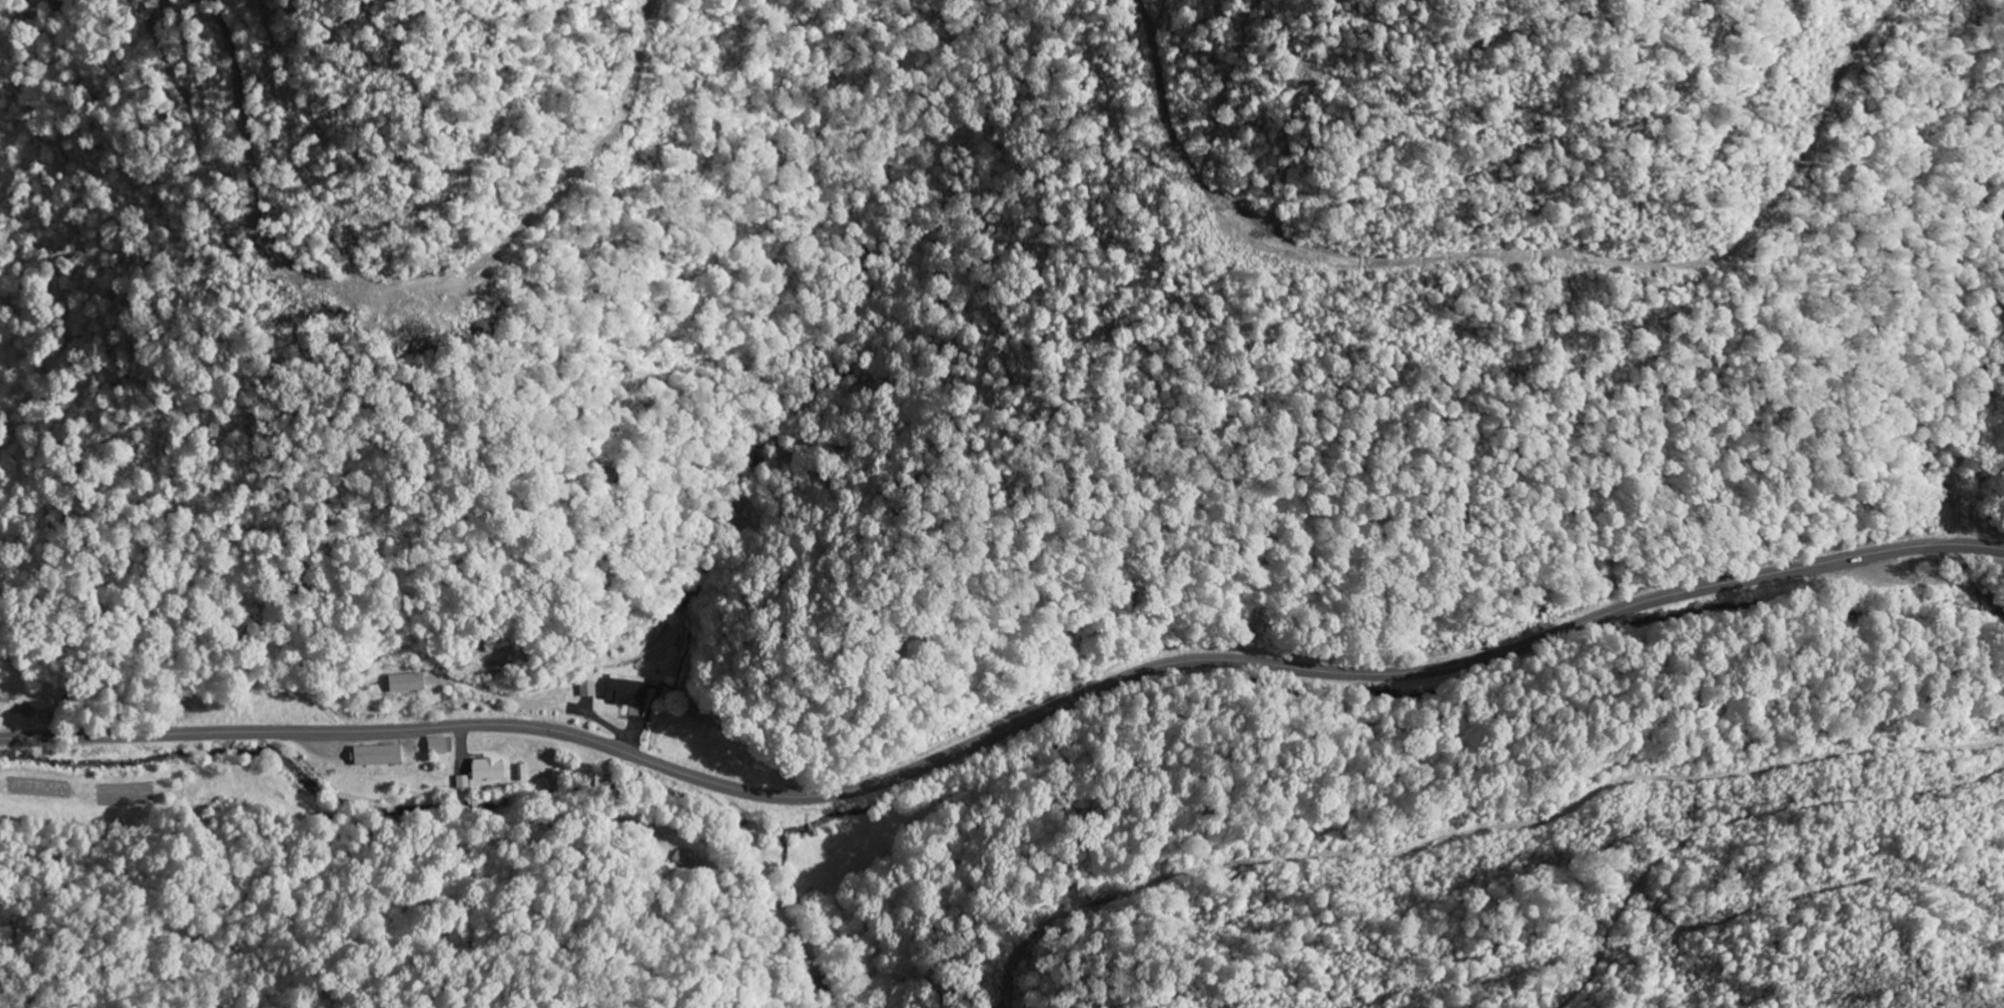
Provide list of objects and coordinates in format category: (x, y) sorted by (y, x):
building: (409, 683)
building: (589, 689)
building: (630, 692)
road: (1006, 729)
building: (381, 755)
building: (491, 769)

